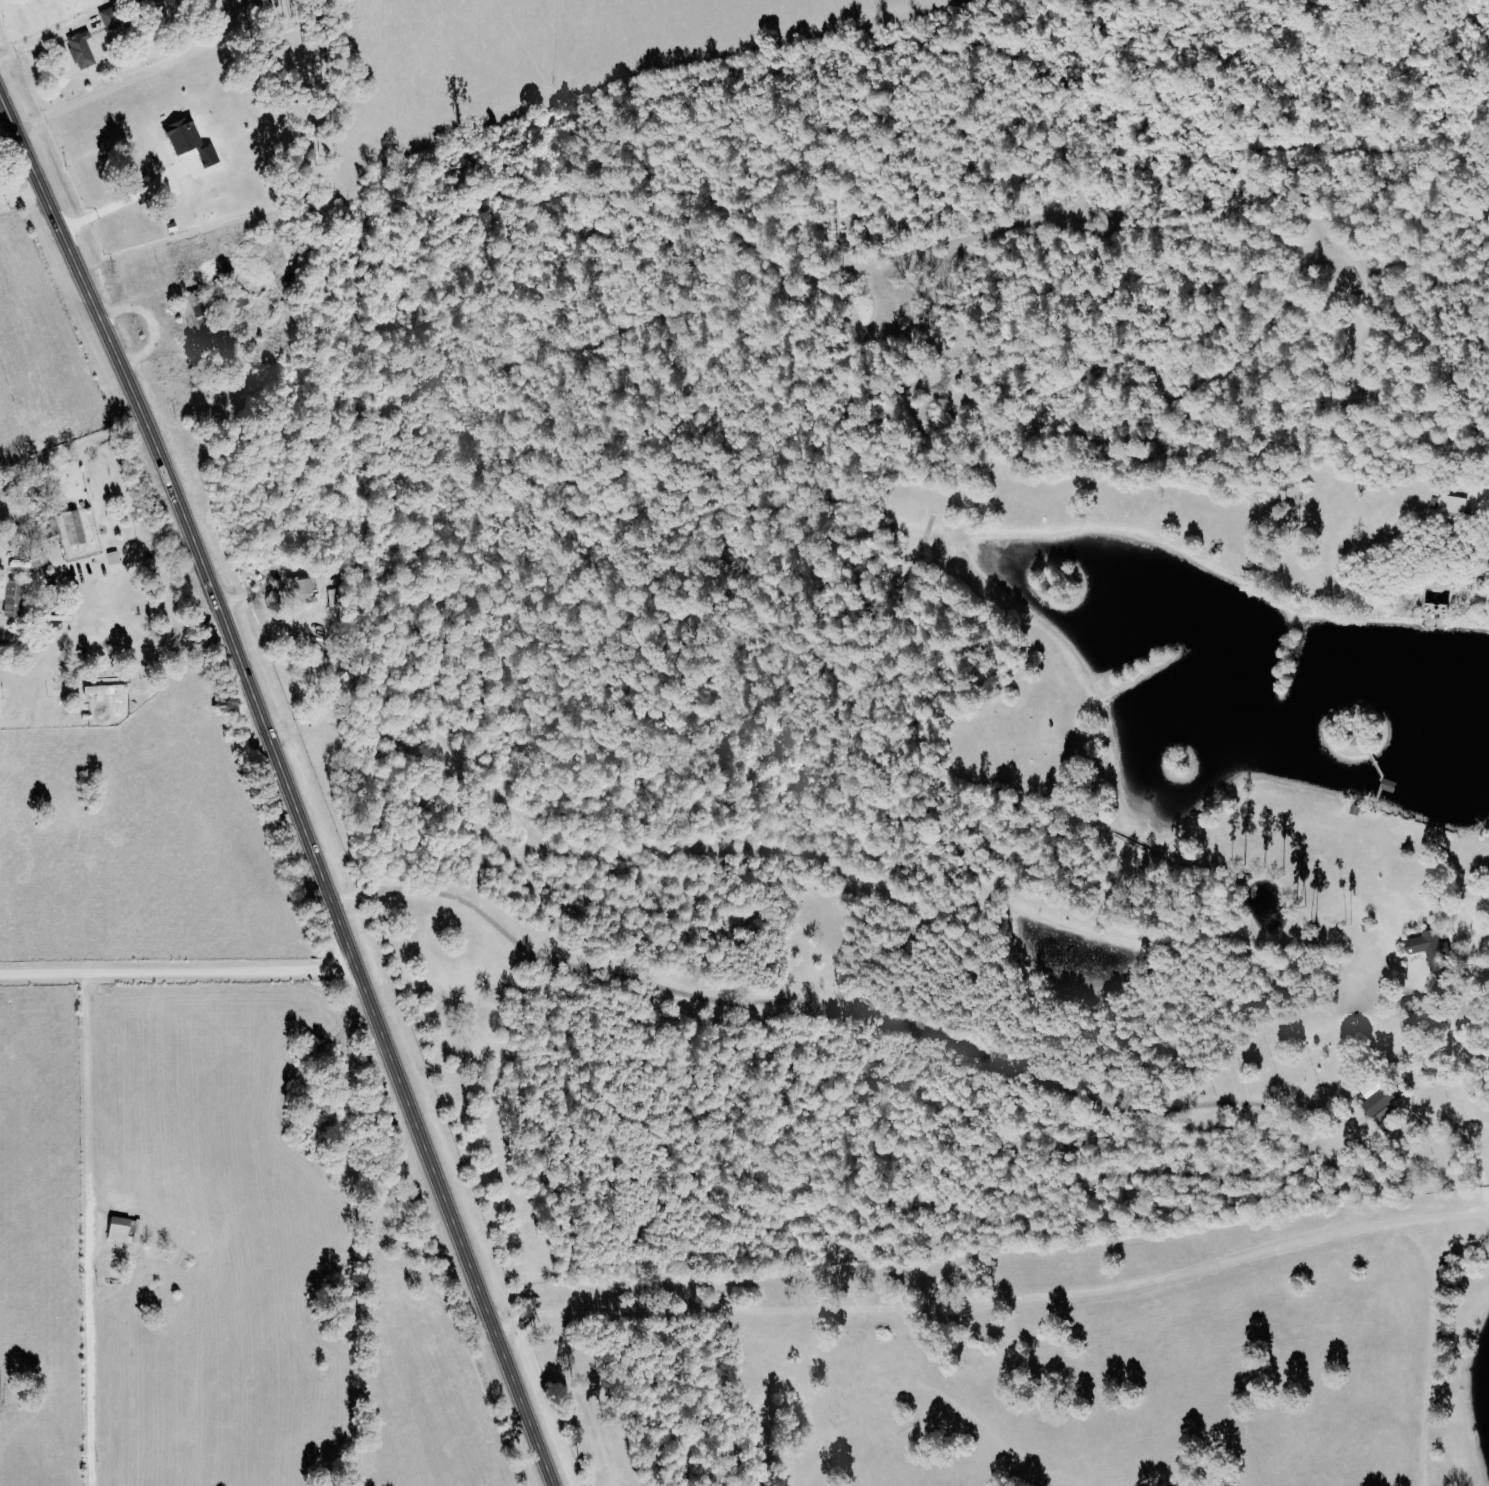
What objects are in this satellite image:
building: (111, 18)
building: (82, 49)
building: (189, 139)
road: (122, 198)
building: (192, 313)
road: (1486, 492)
building: (1448, 507)
building: (64, 527)
building: (301, 586)
building: (12, 599)
road: (135, 645)
building: (105, 689)
road: (286, 790)
building: (1430, 949)
road: (176, 971)
road: (1460, 1066)
building: (1380, 1101)
road: (89, 1228)
building: (120, 1229)
road: (994, 1301)

